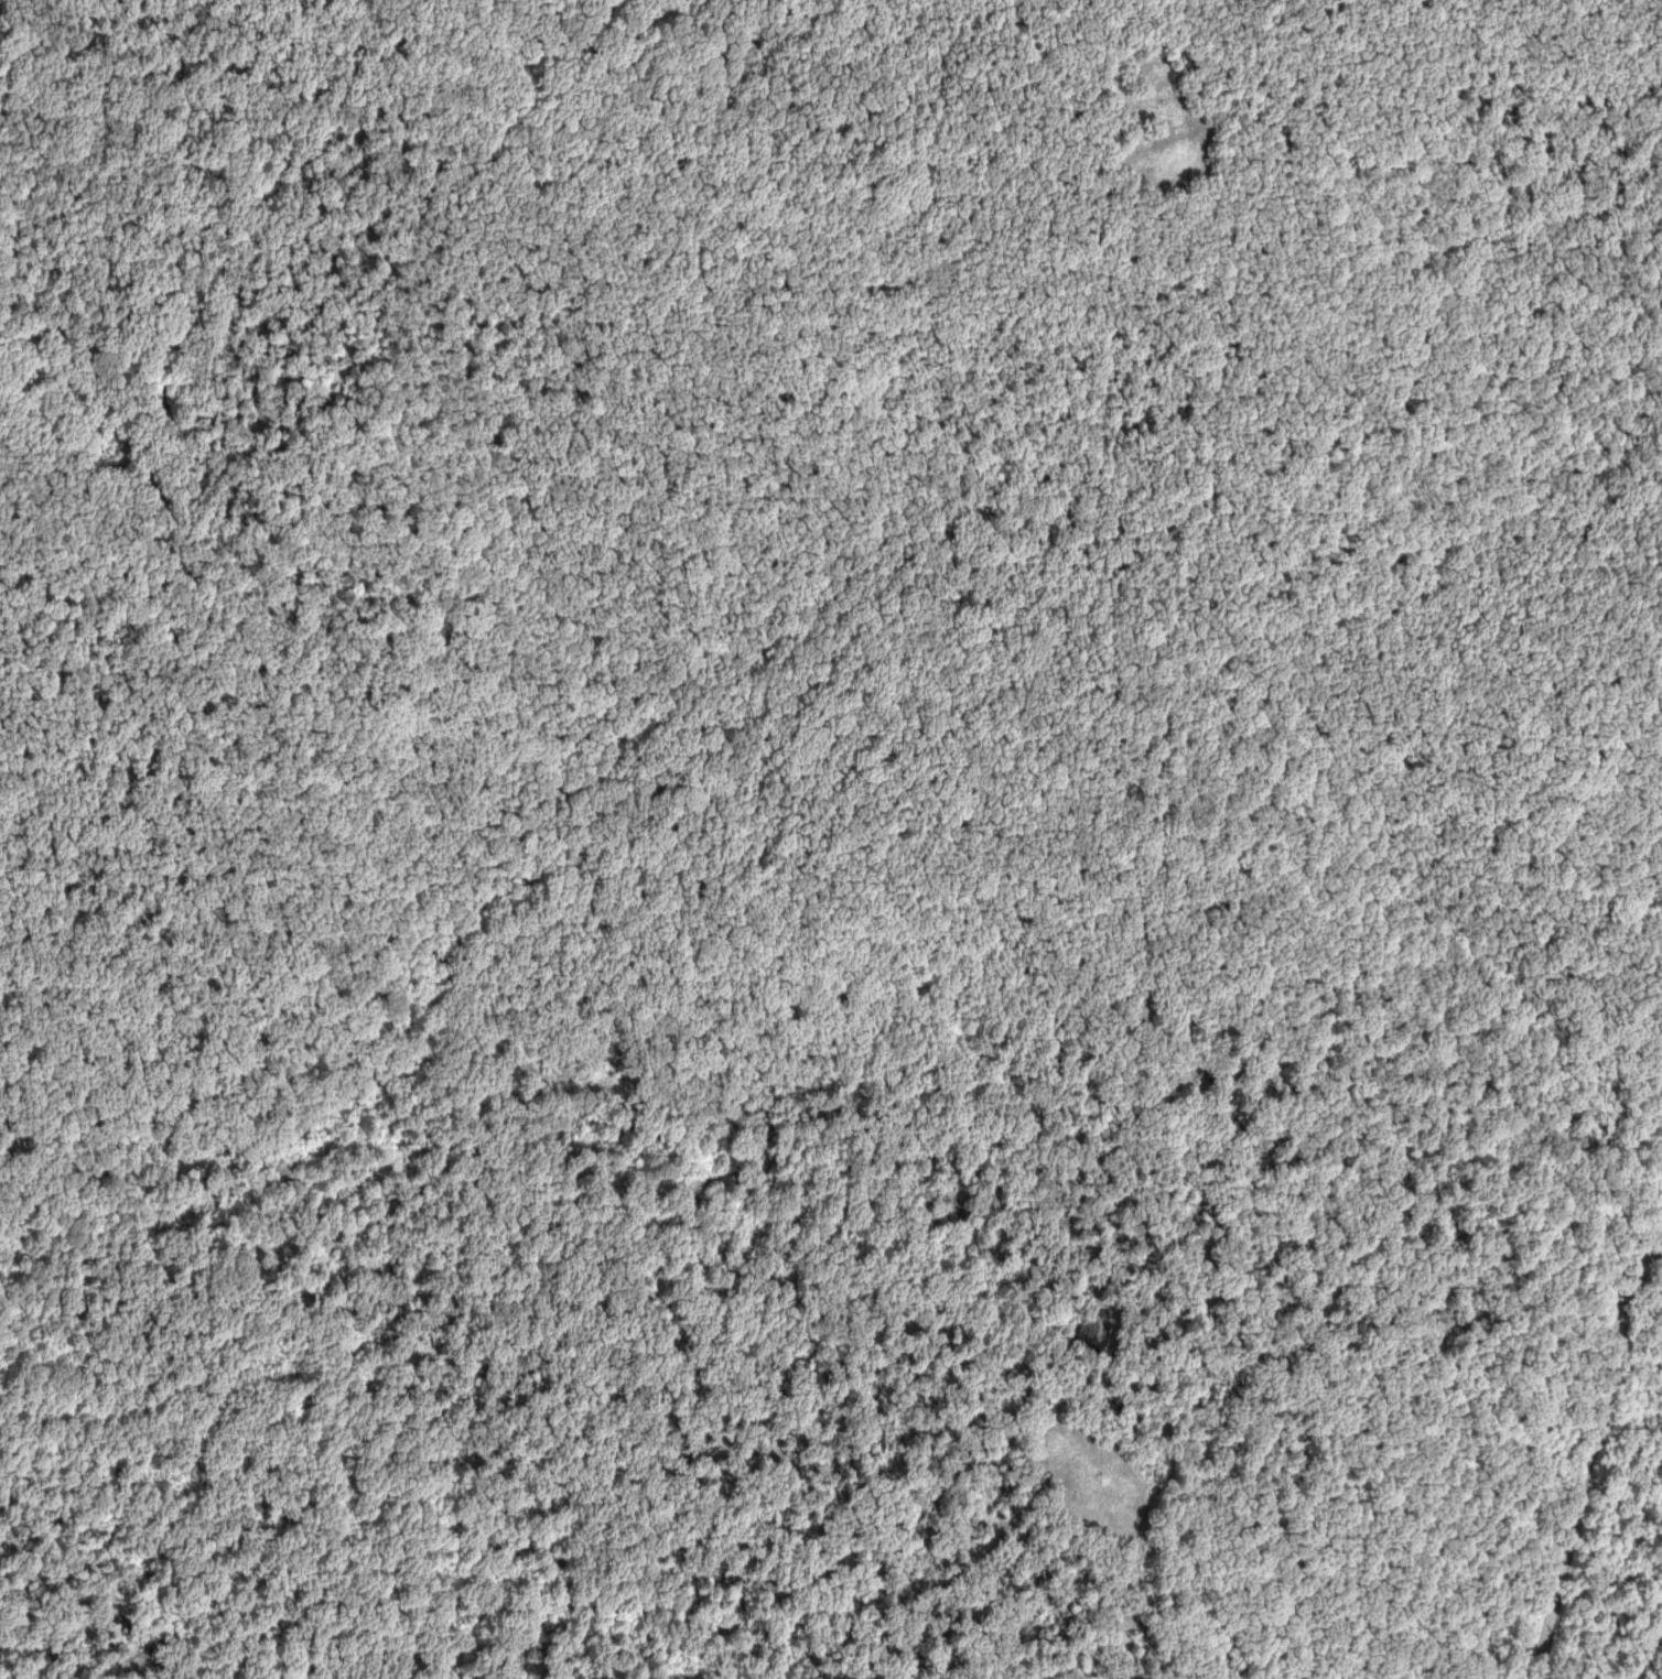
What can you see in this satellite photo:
road: (1590, 1458)

